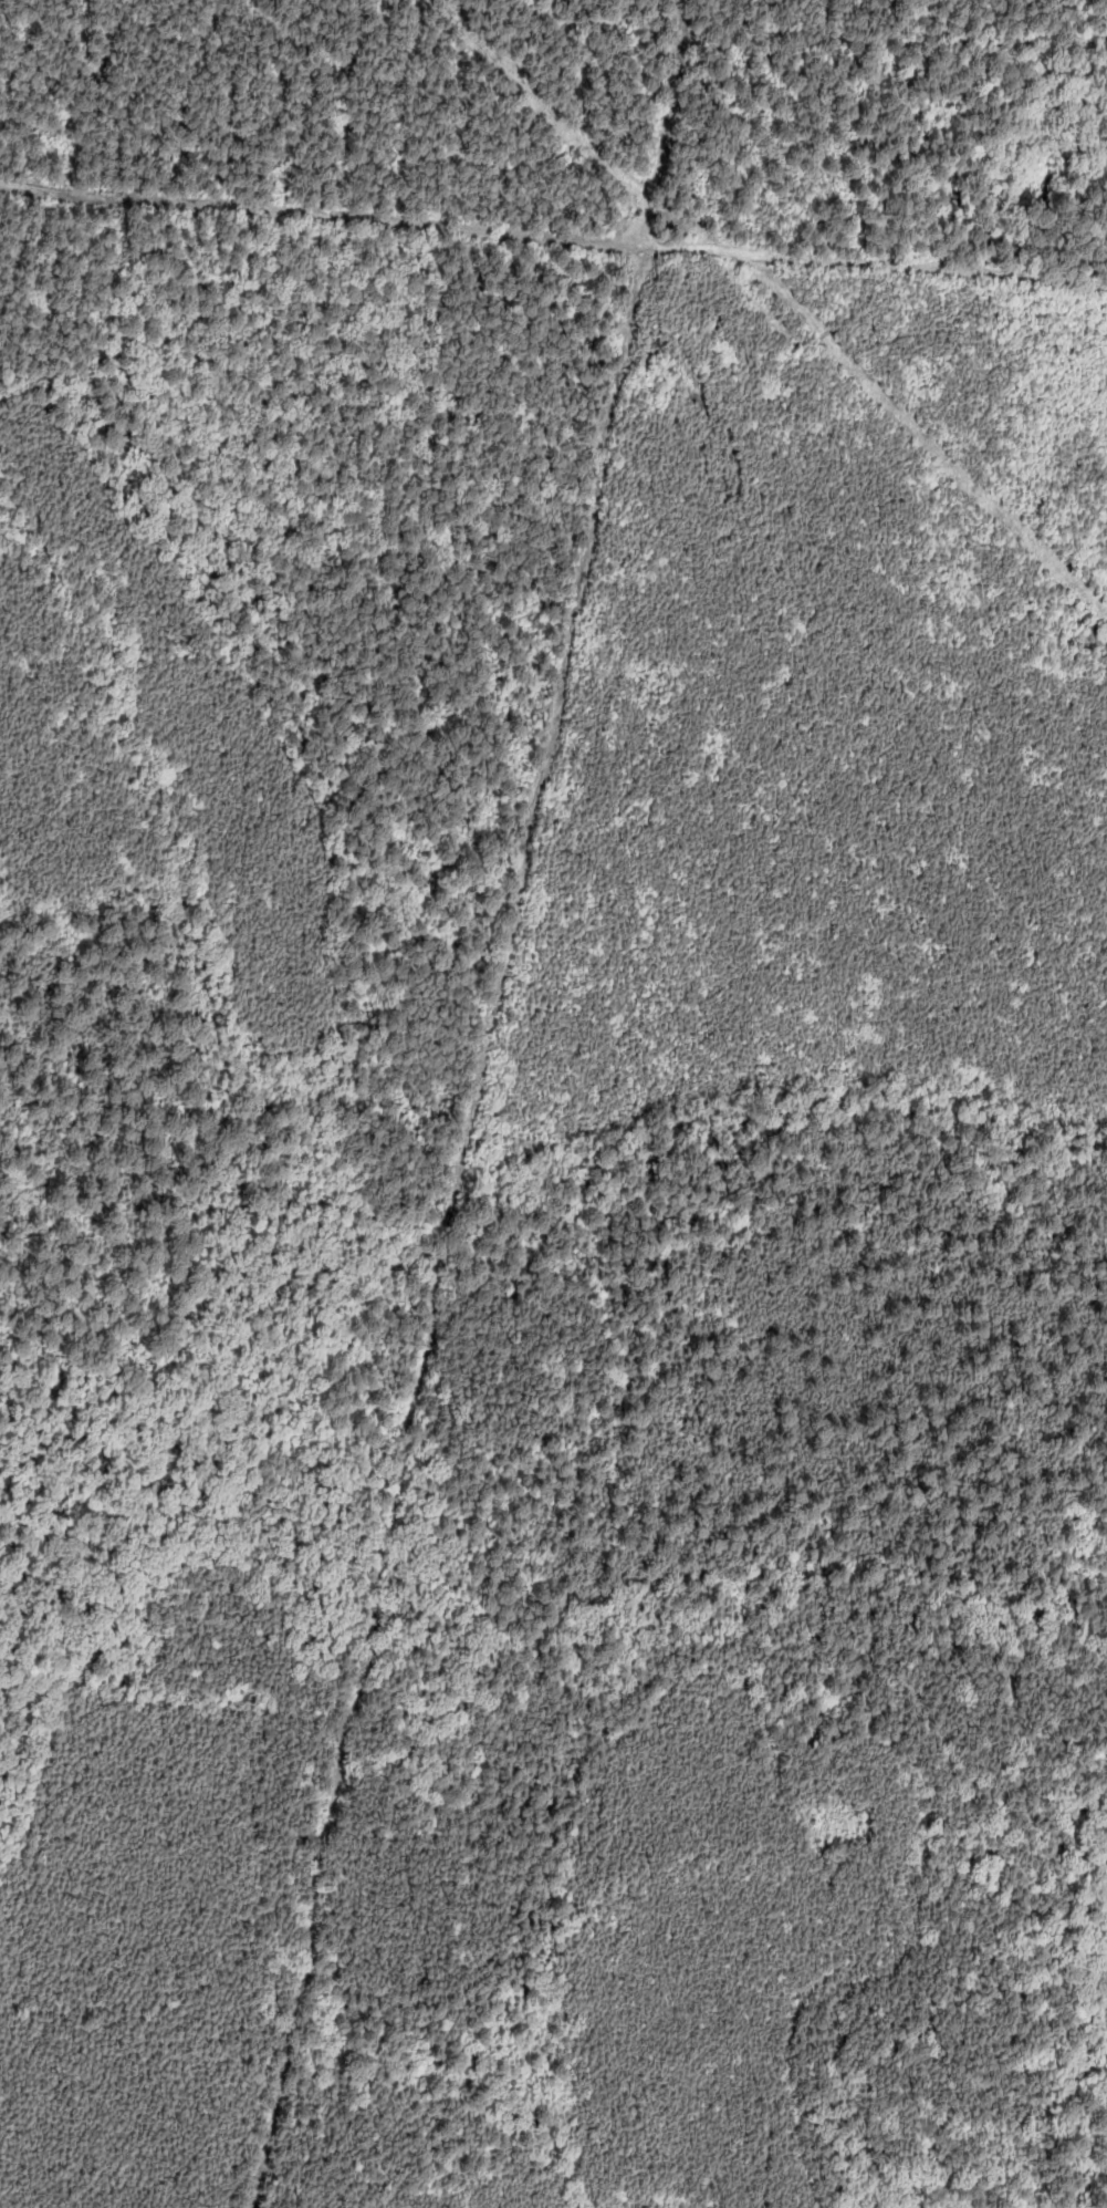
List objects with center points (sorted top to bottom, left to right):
road: (552, 238)
road: (474, 1101)

